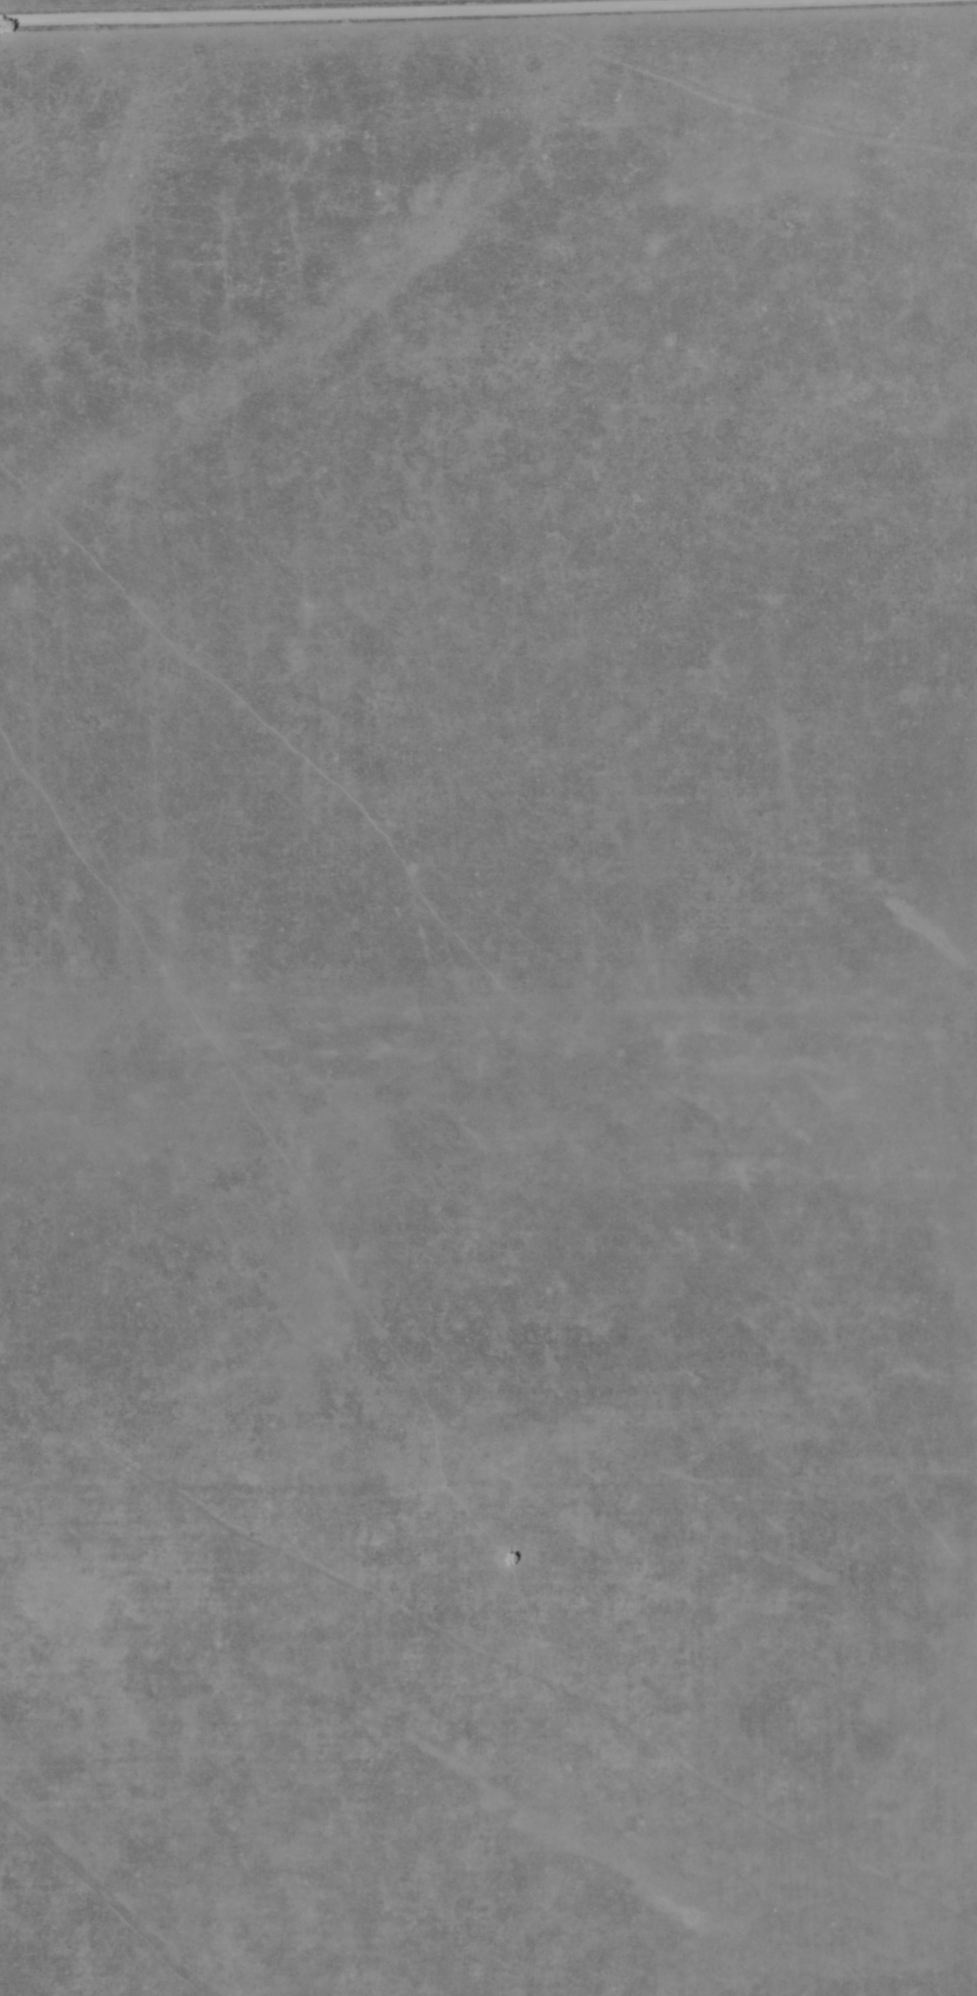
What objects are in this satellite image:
road: (468, 16)

